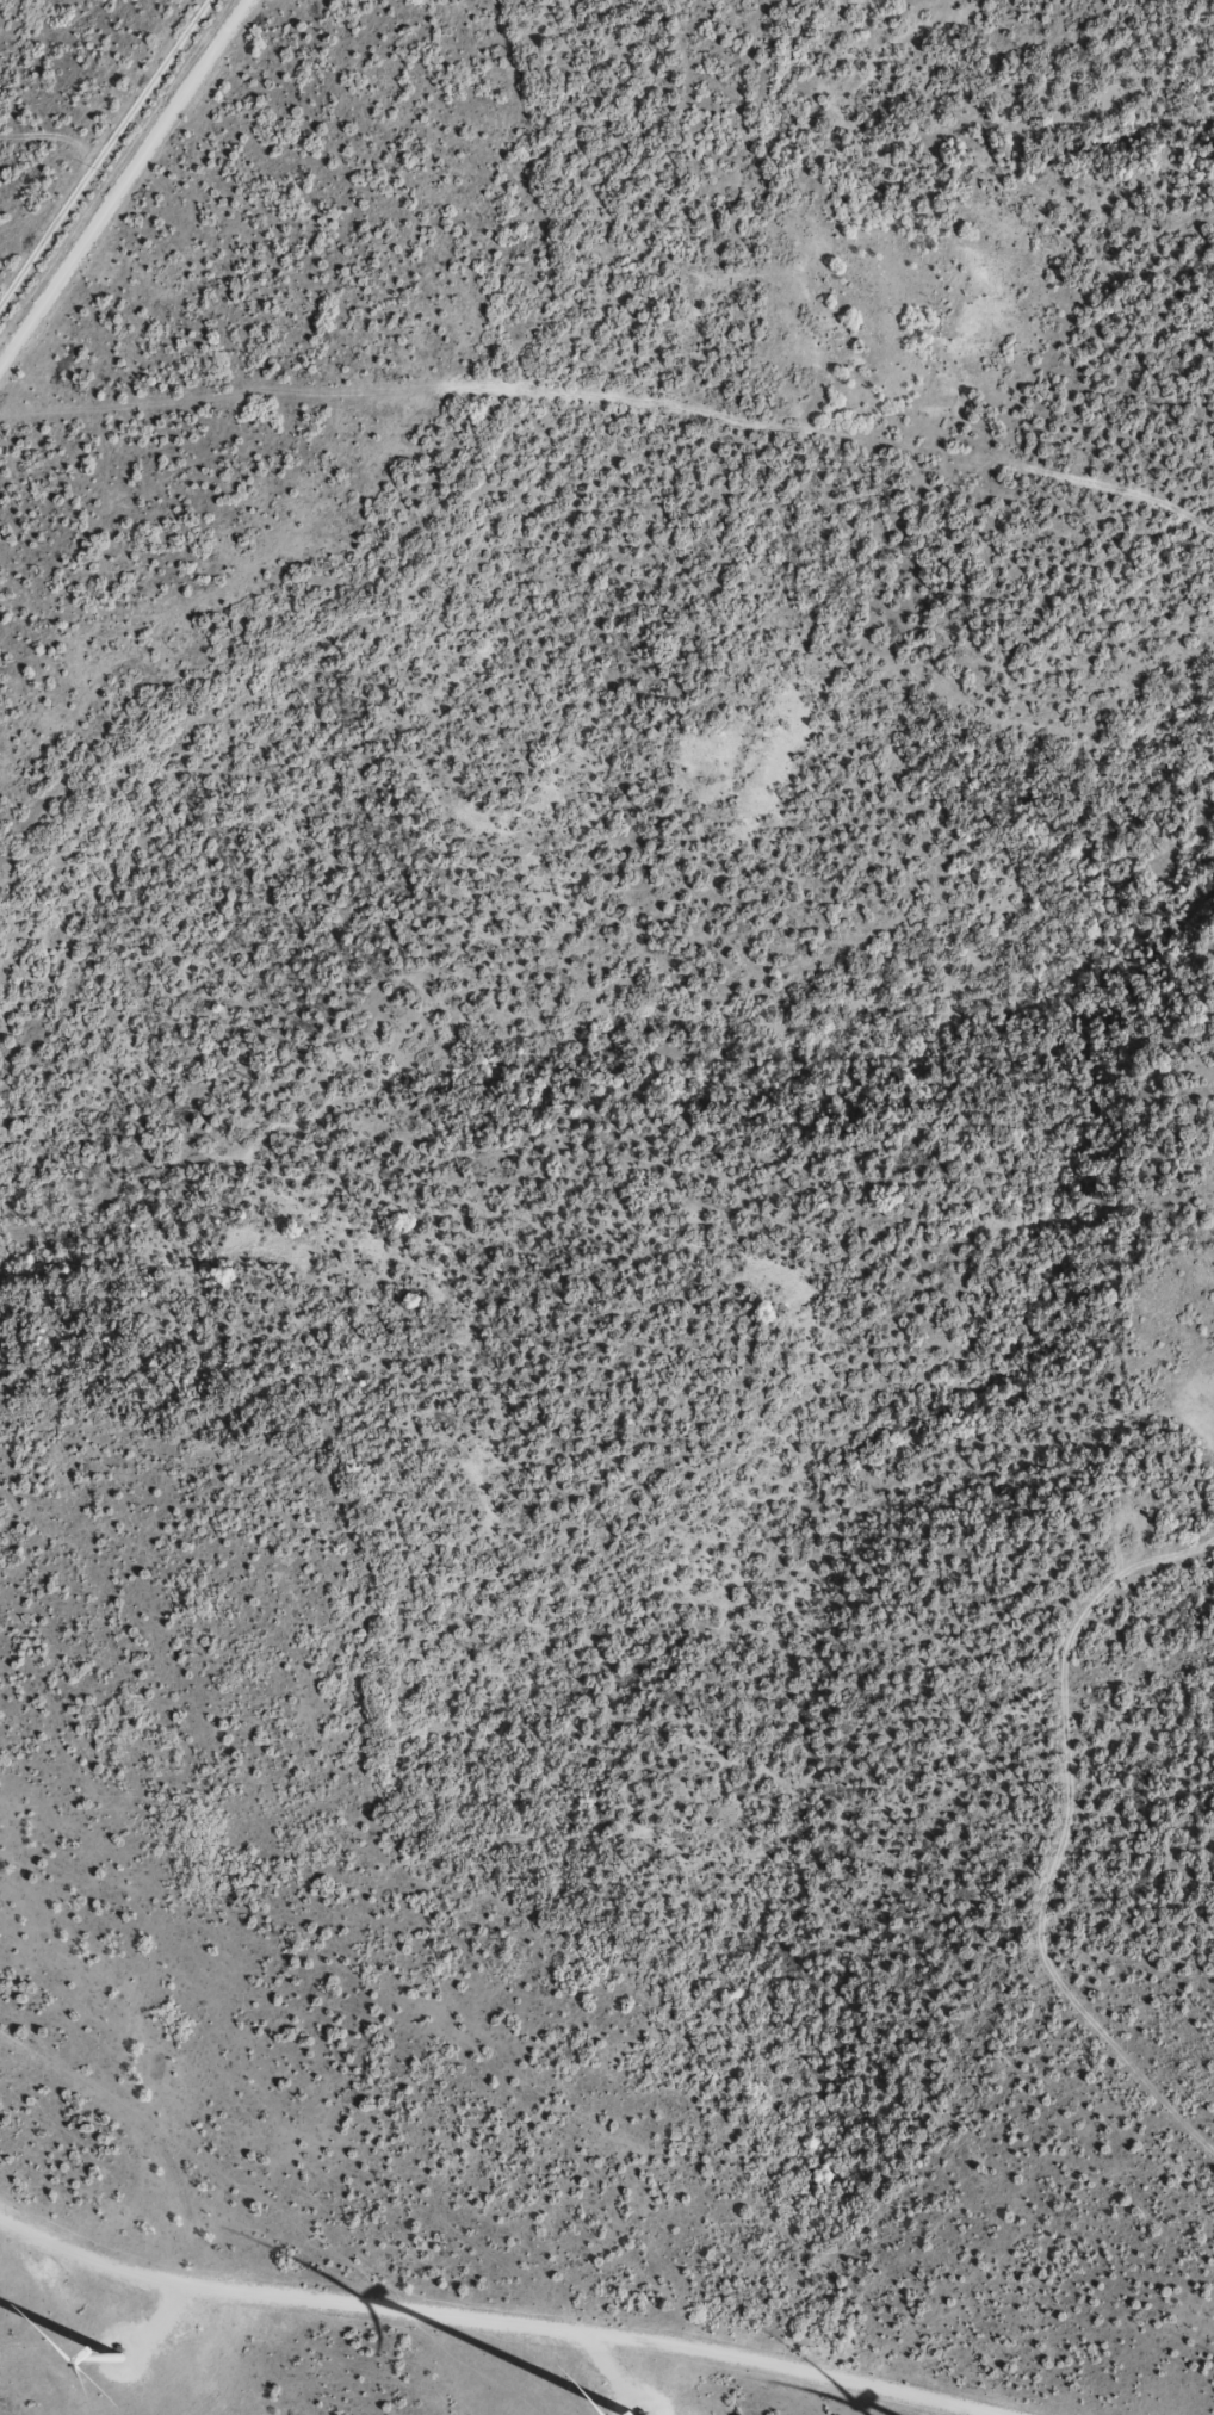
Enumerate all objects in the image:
road: (126, 185)
road: (498, 2322)
wind turbine: (119, 2357)

